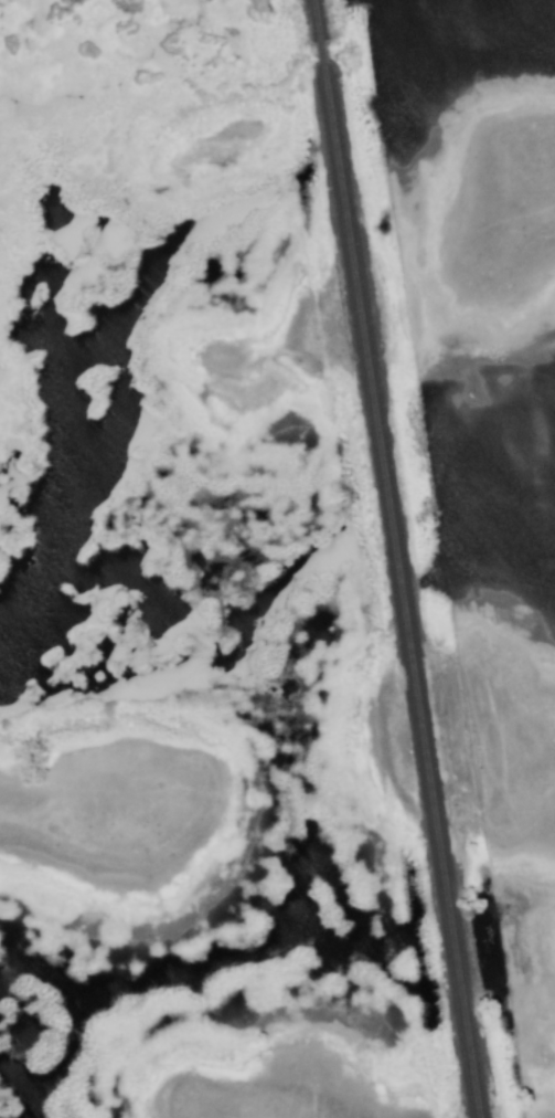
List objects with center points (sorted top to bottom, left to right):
railway: (320, 22)
railway: (325, 55)
railway: (405, 592)

